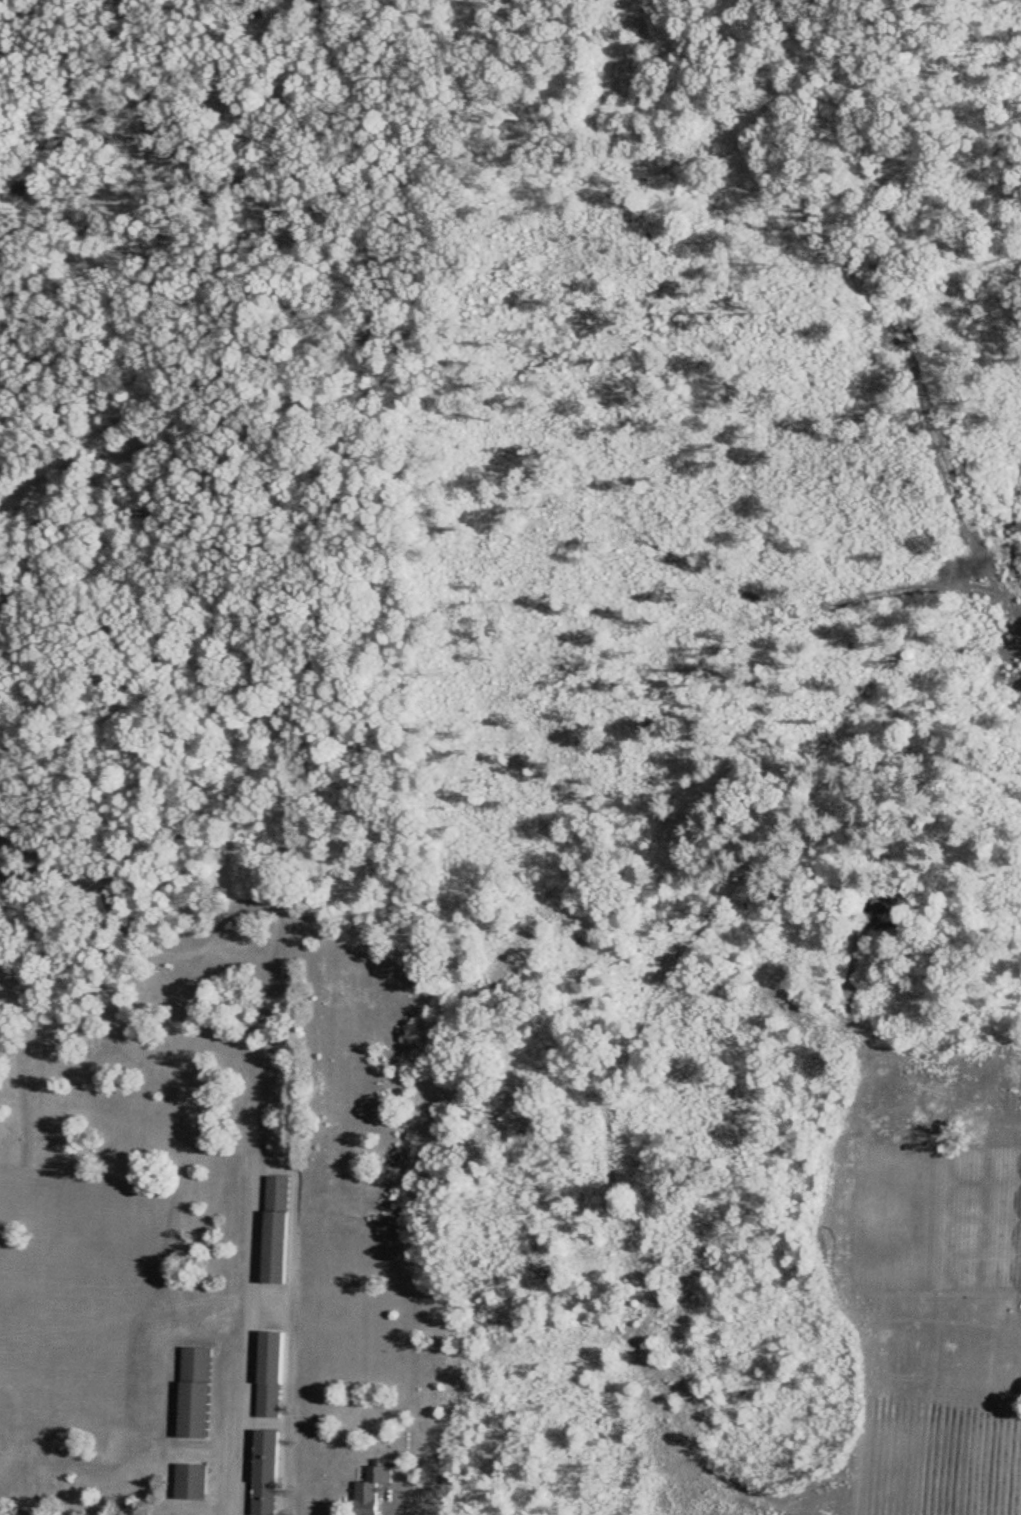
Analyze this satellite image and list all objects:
building: (272, 1230)
building: (270, 1370)
building: (192, 1393)
building: (262, 1472)
building: (368, 1488)

